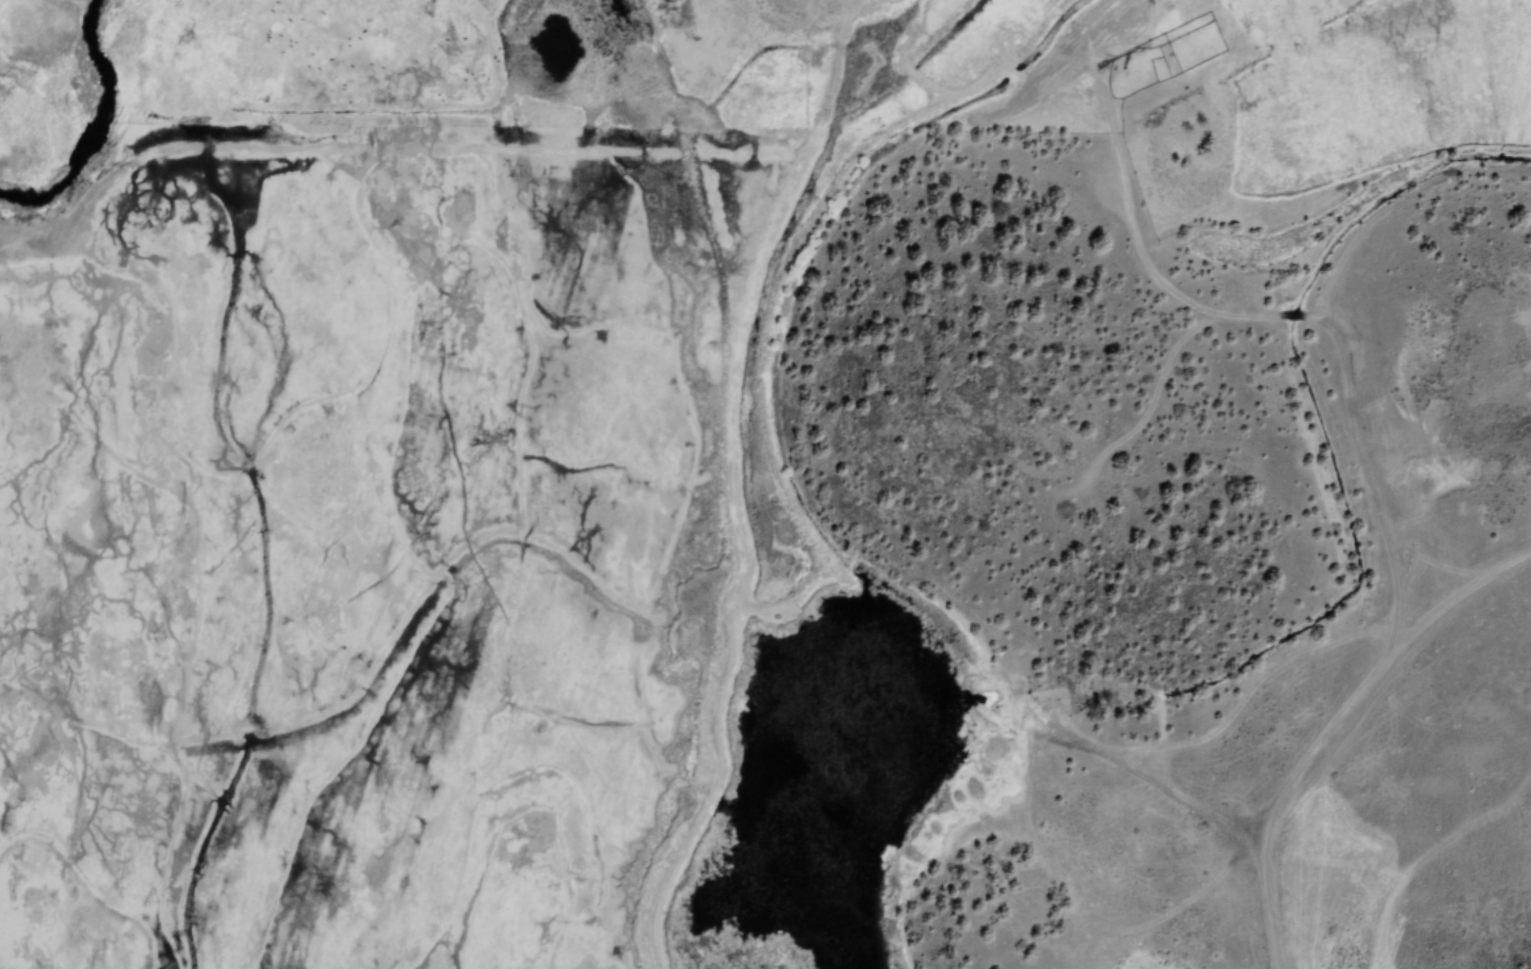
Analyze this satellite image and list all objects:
river: (86, 56)
river: (65, 179)
road: (1331, 722)

